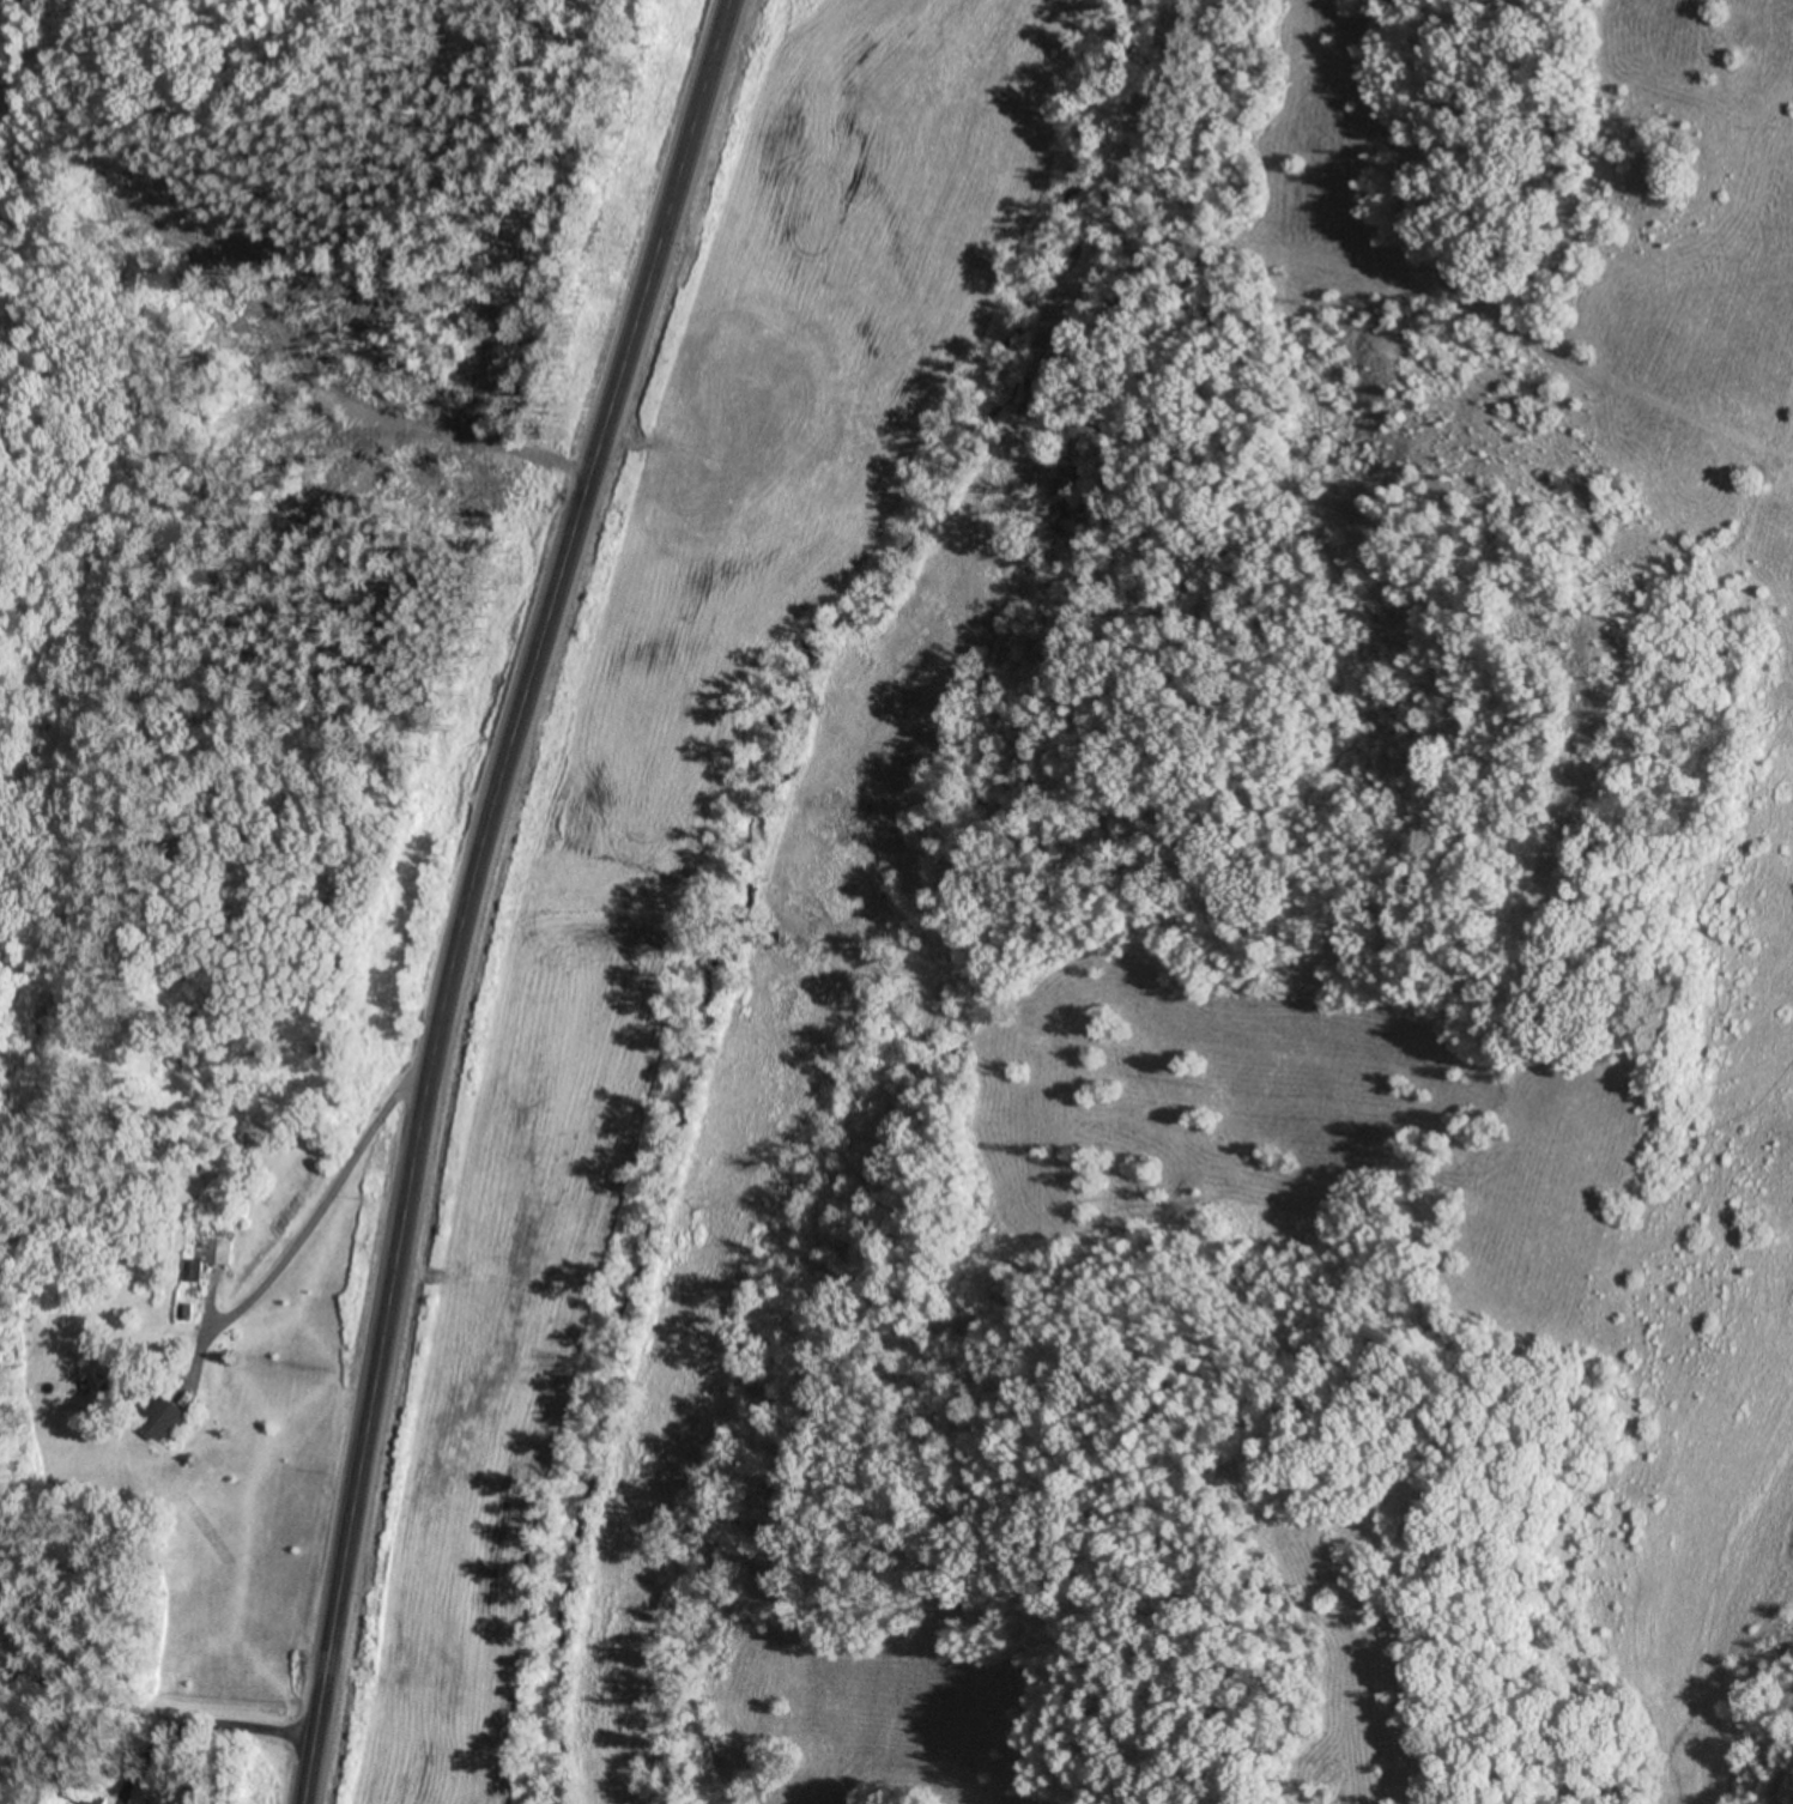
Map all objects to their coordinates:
road: (461, 890)
road: (310, 1217)
building: (220, 1252)
building: (192, 1270)
building: (169, 1415)
road: (192, 1730)
building: (91, 1798)

